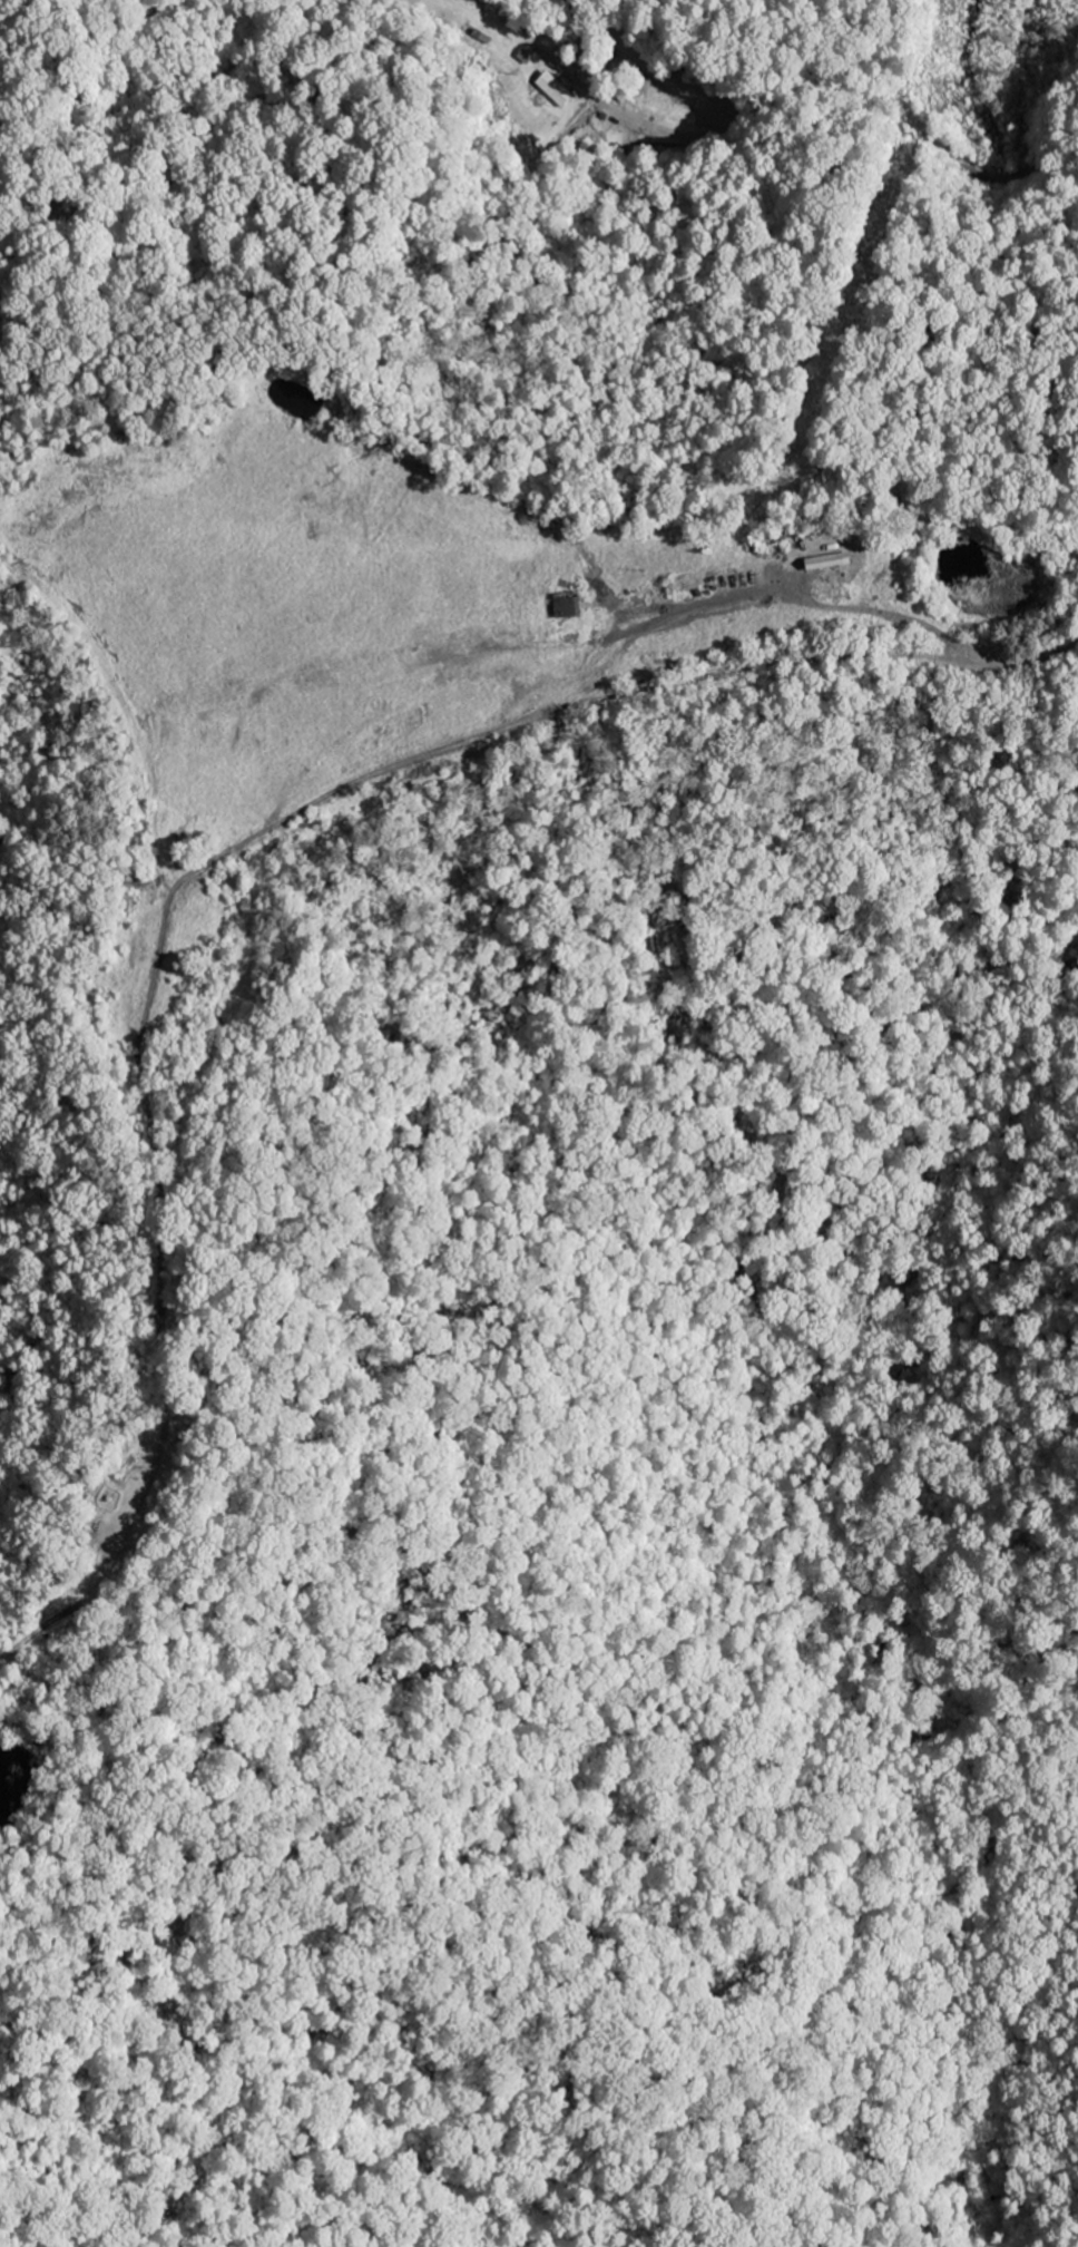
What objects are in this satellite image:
building: (555, 87)
building: (825, 563)
building: (566, 605)

